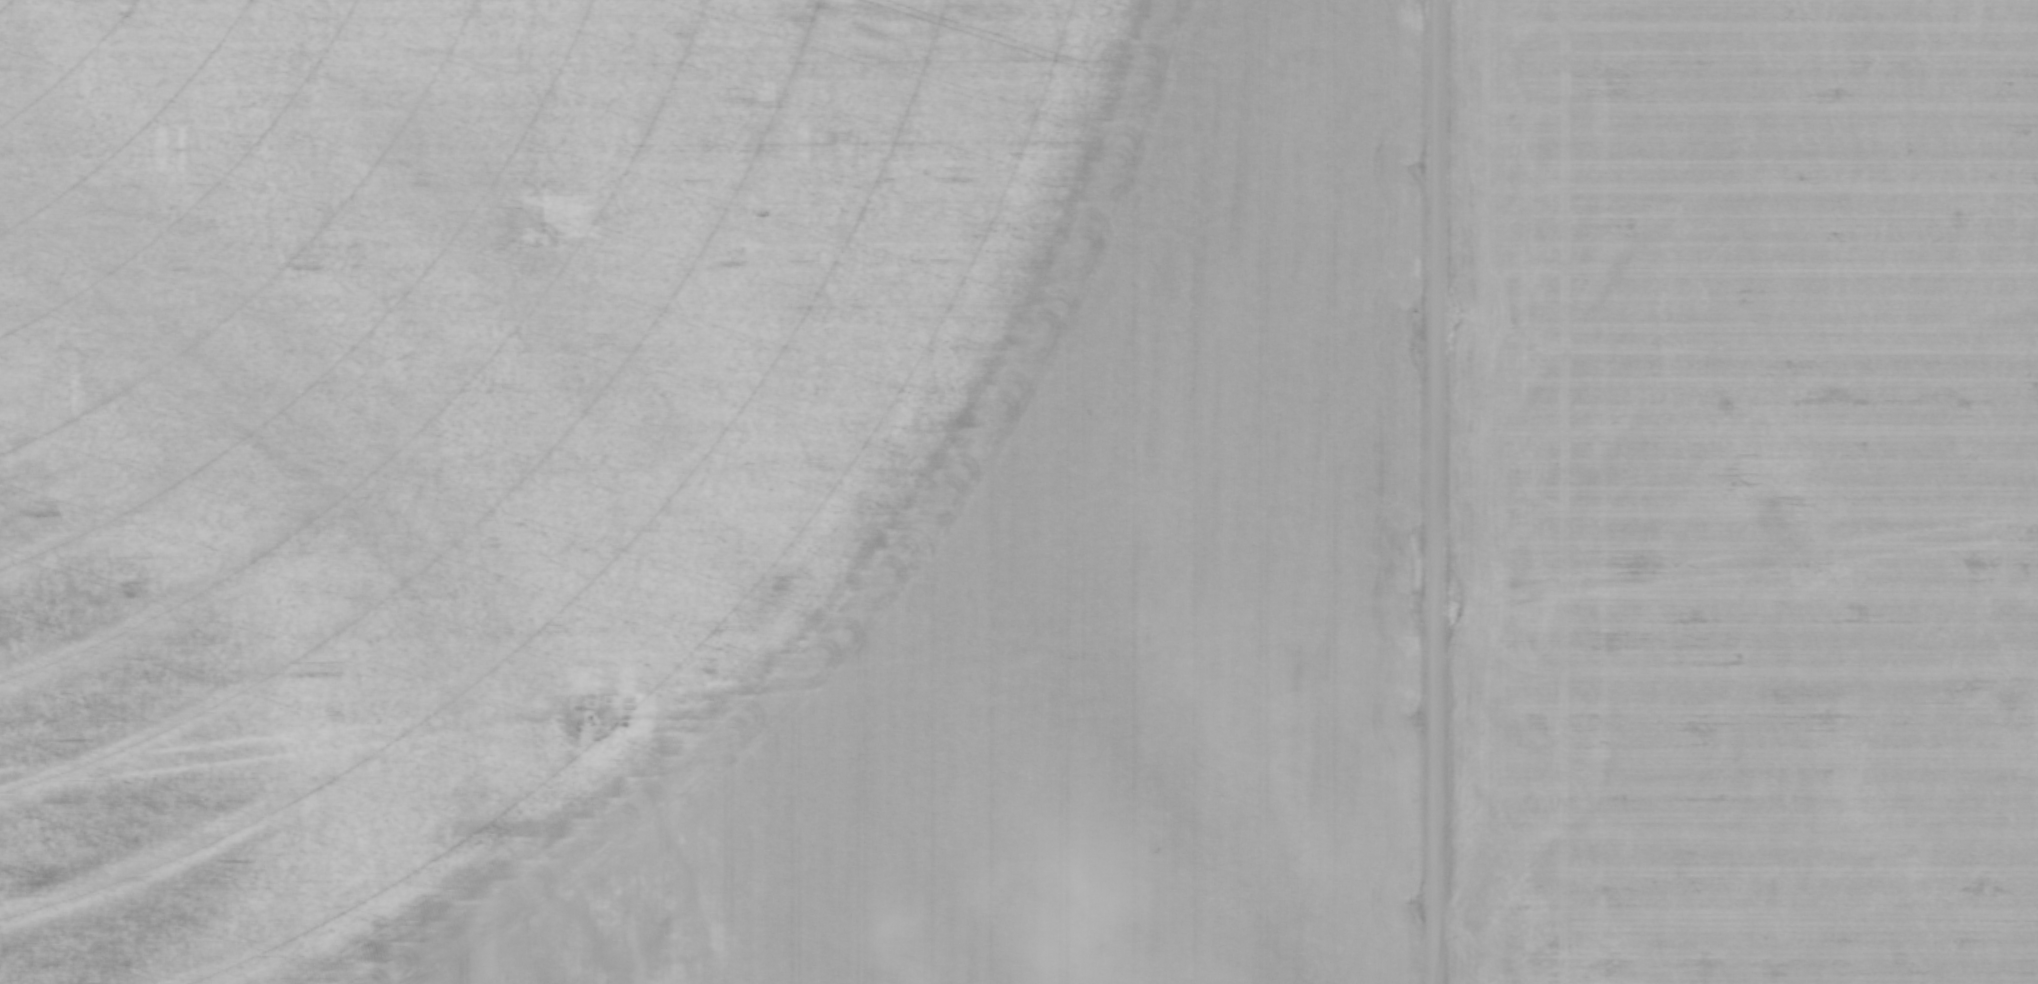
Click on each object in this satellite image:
crop: (708, 491)
road: (1434, 491)
crop: (1744, 492)

